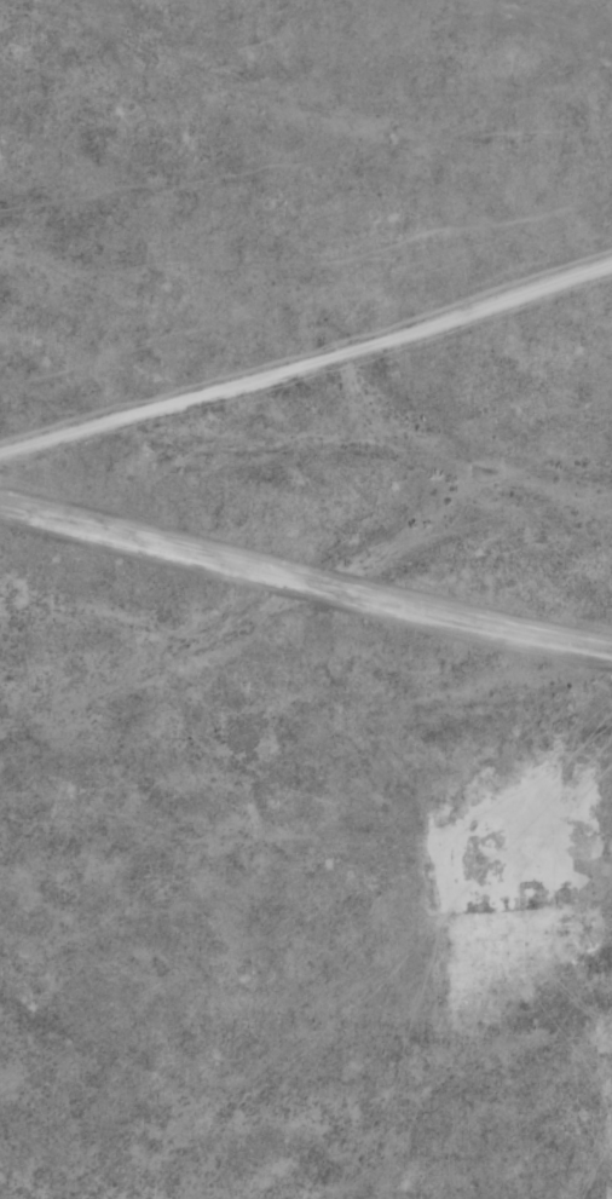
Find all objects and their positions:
road: (306, 362)

